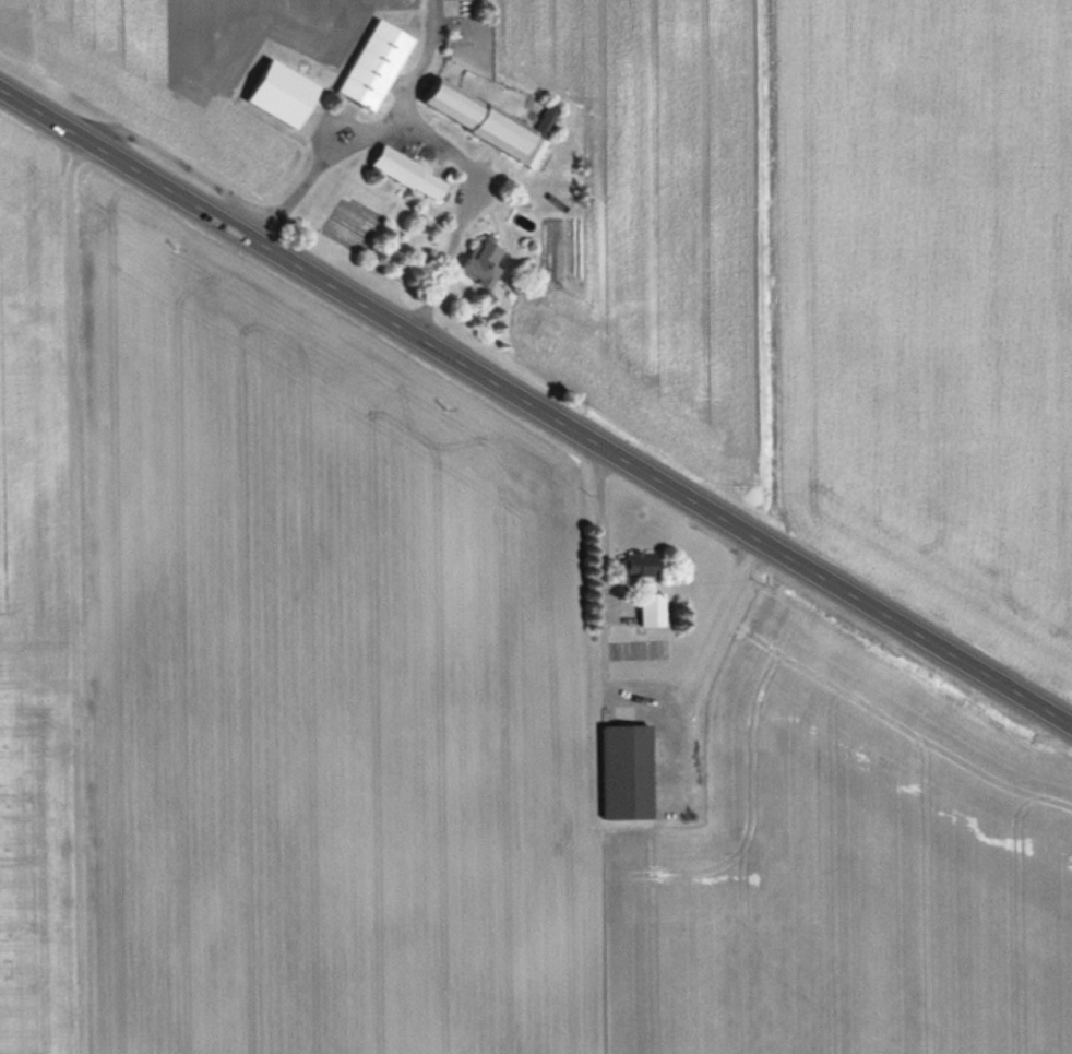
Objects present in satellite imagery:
building: (374, 63)
building: (486, 120)
road: (429, 130)
building: (409, 171)
building: (484, 260)
road: (536, 408)
building: (642, 562)
building: (653, 607)
building: (628, 771)

